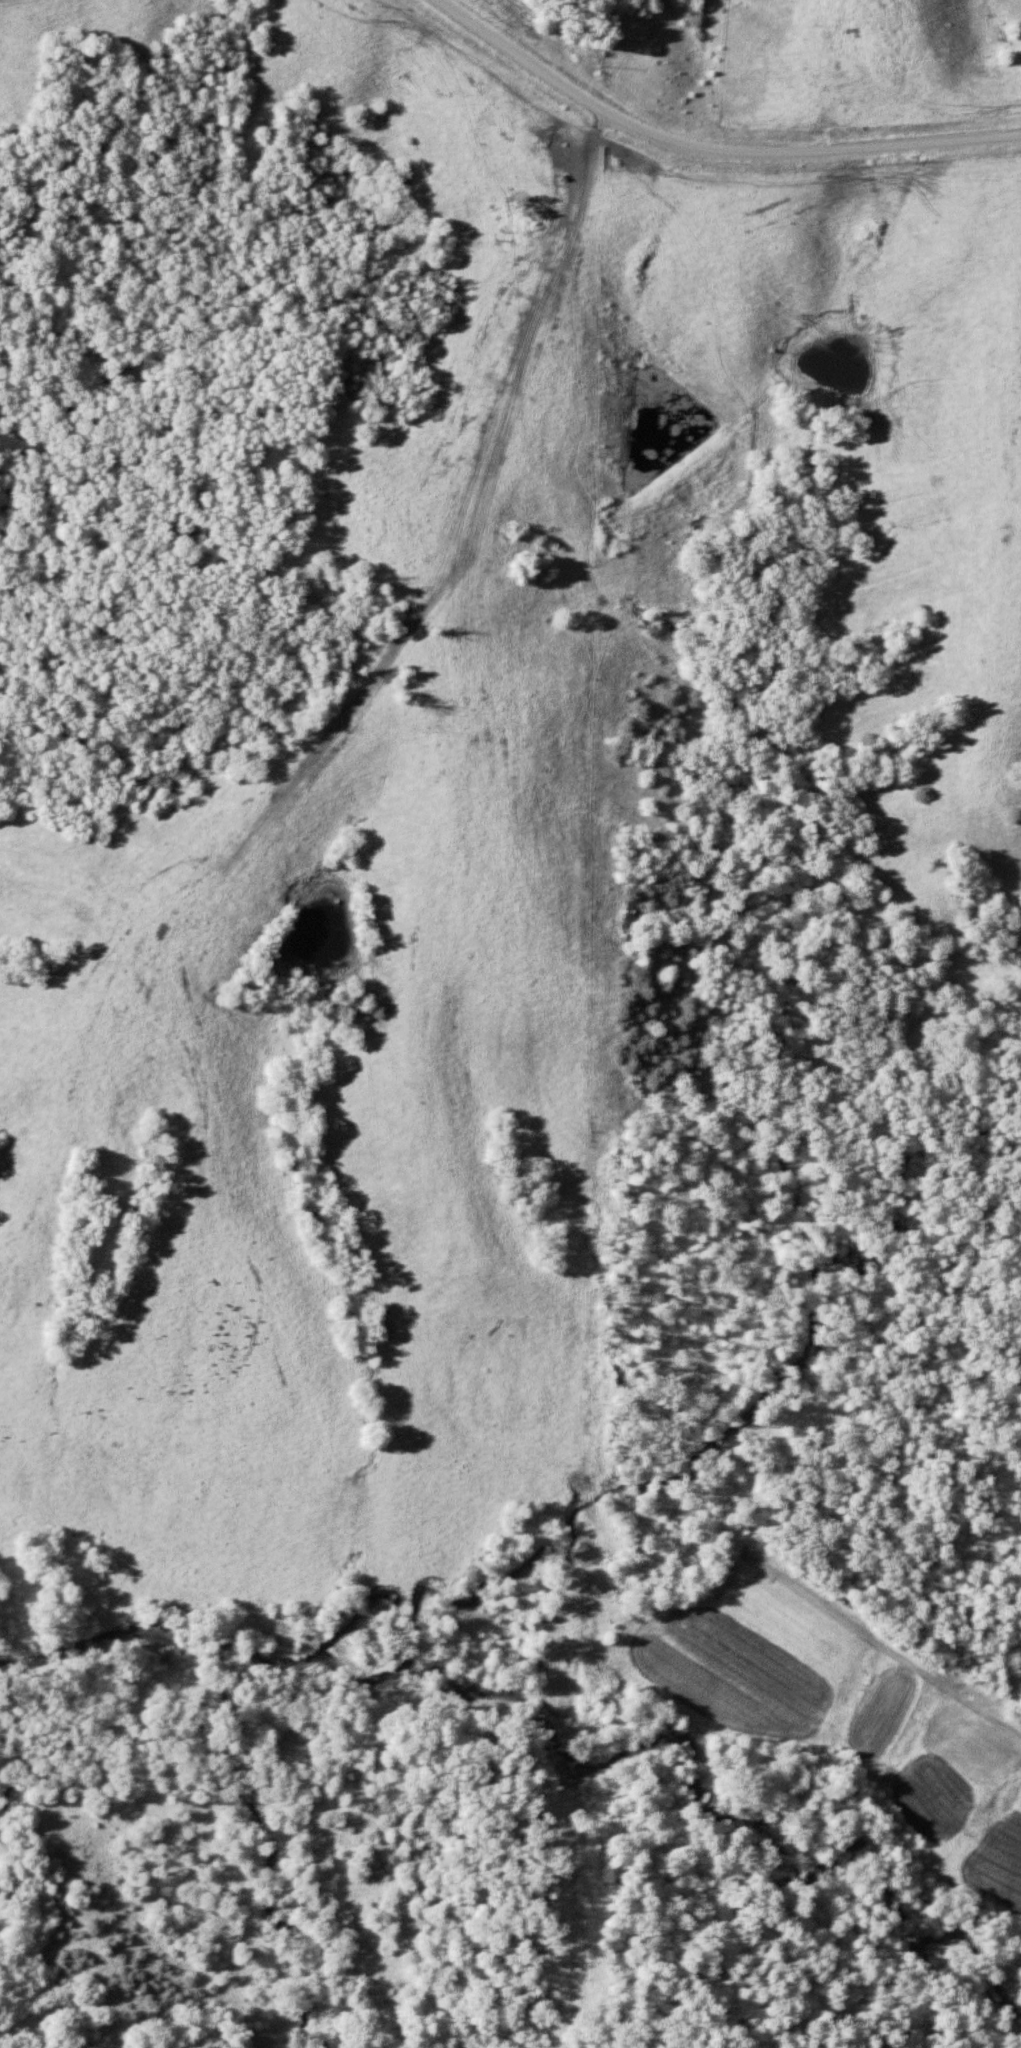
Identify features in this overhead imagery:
road: (708, 150)

